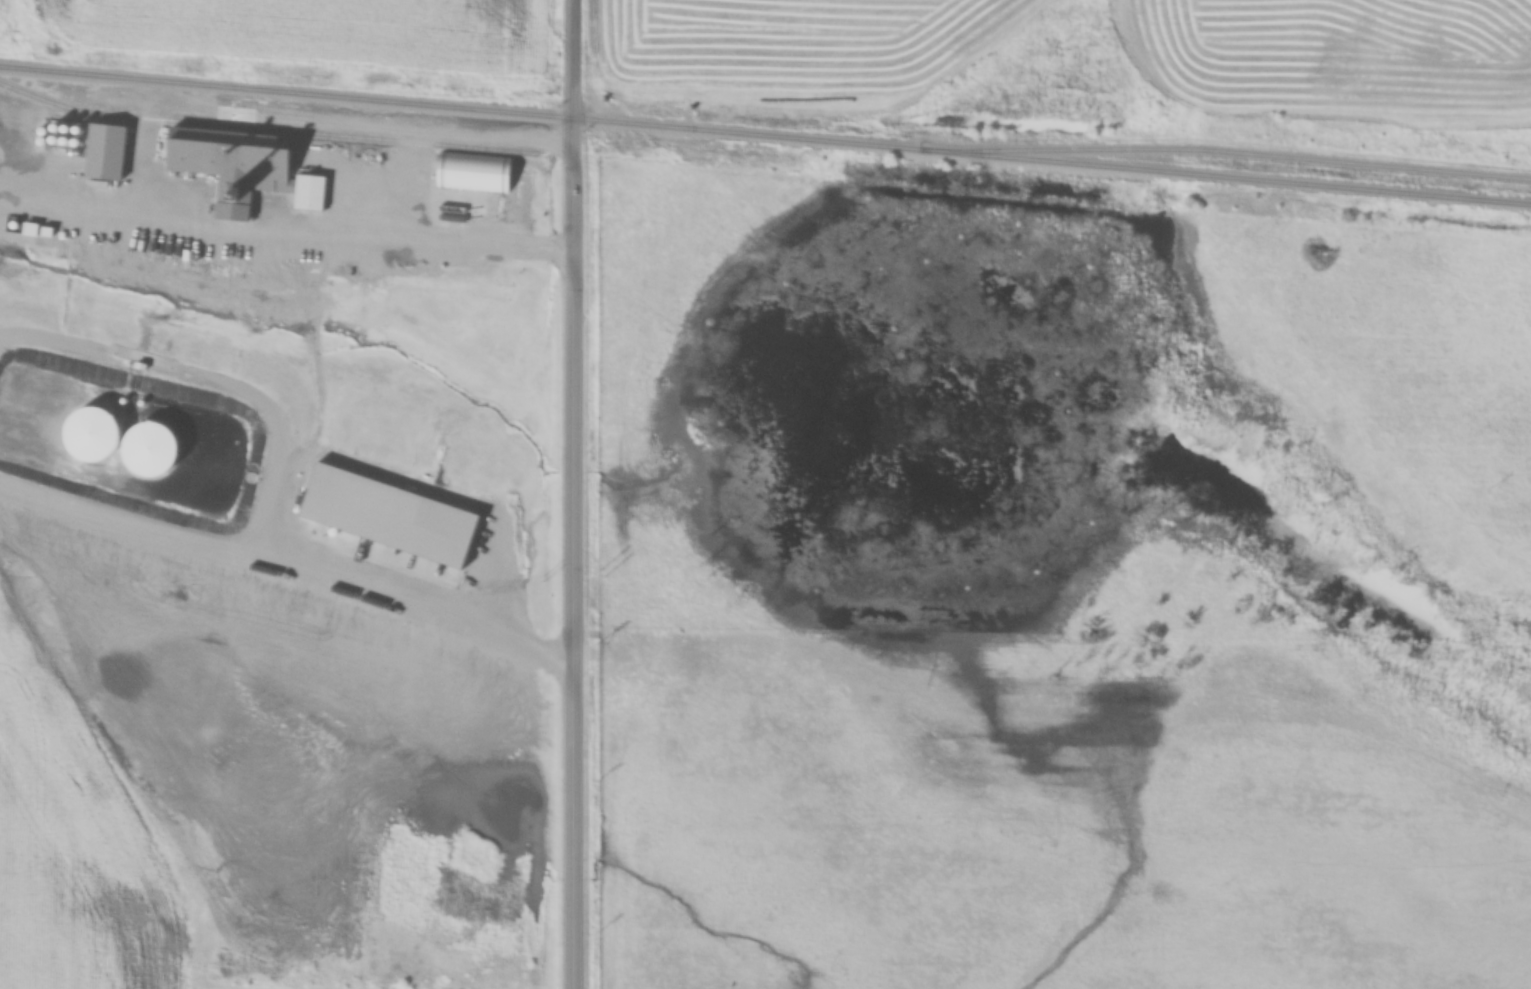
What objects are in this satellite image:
railway: (461, 108)
railway: (264, 129)
building: (107, 152)
railway: (1227, 153)
building: (243, 163)
railway: (1226, 177)
road: (284, 230)
building: (96, 431)
building: (154, 449)
road: (569, 494)
road: (289, 563)

